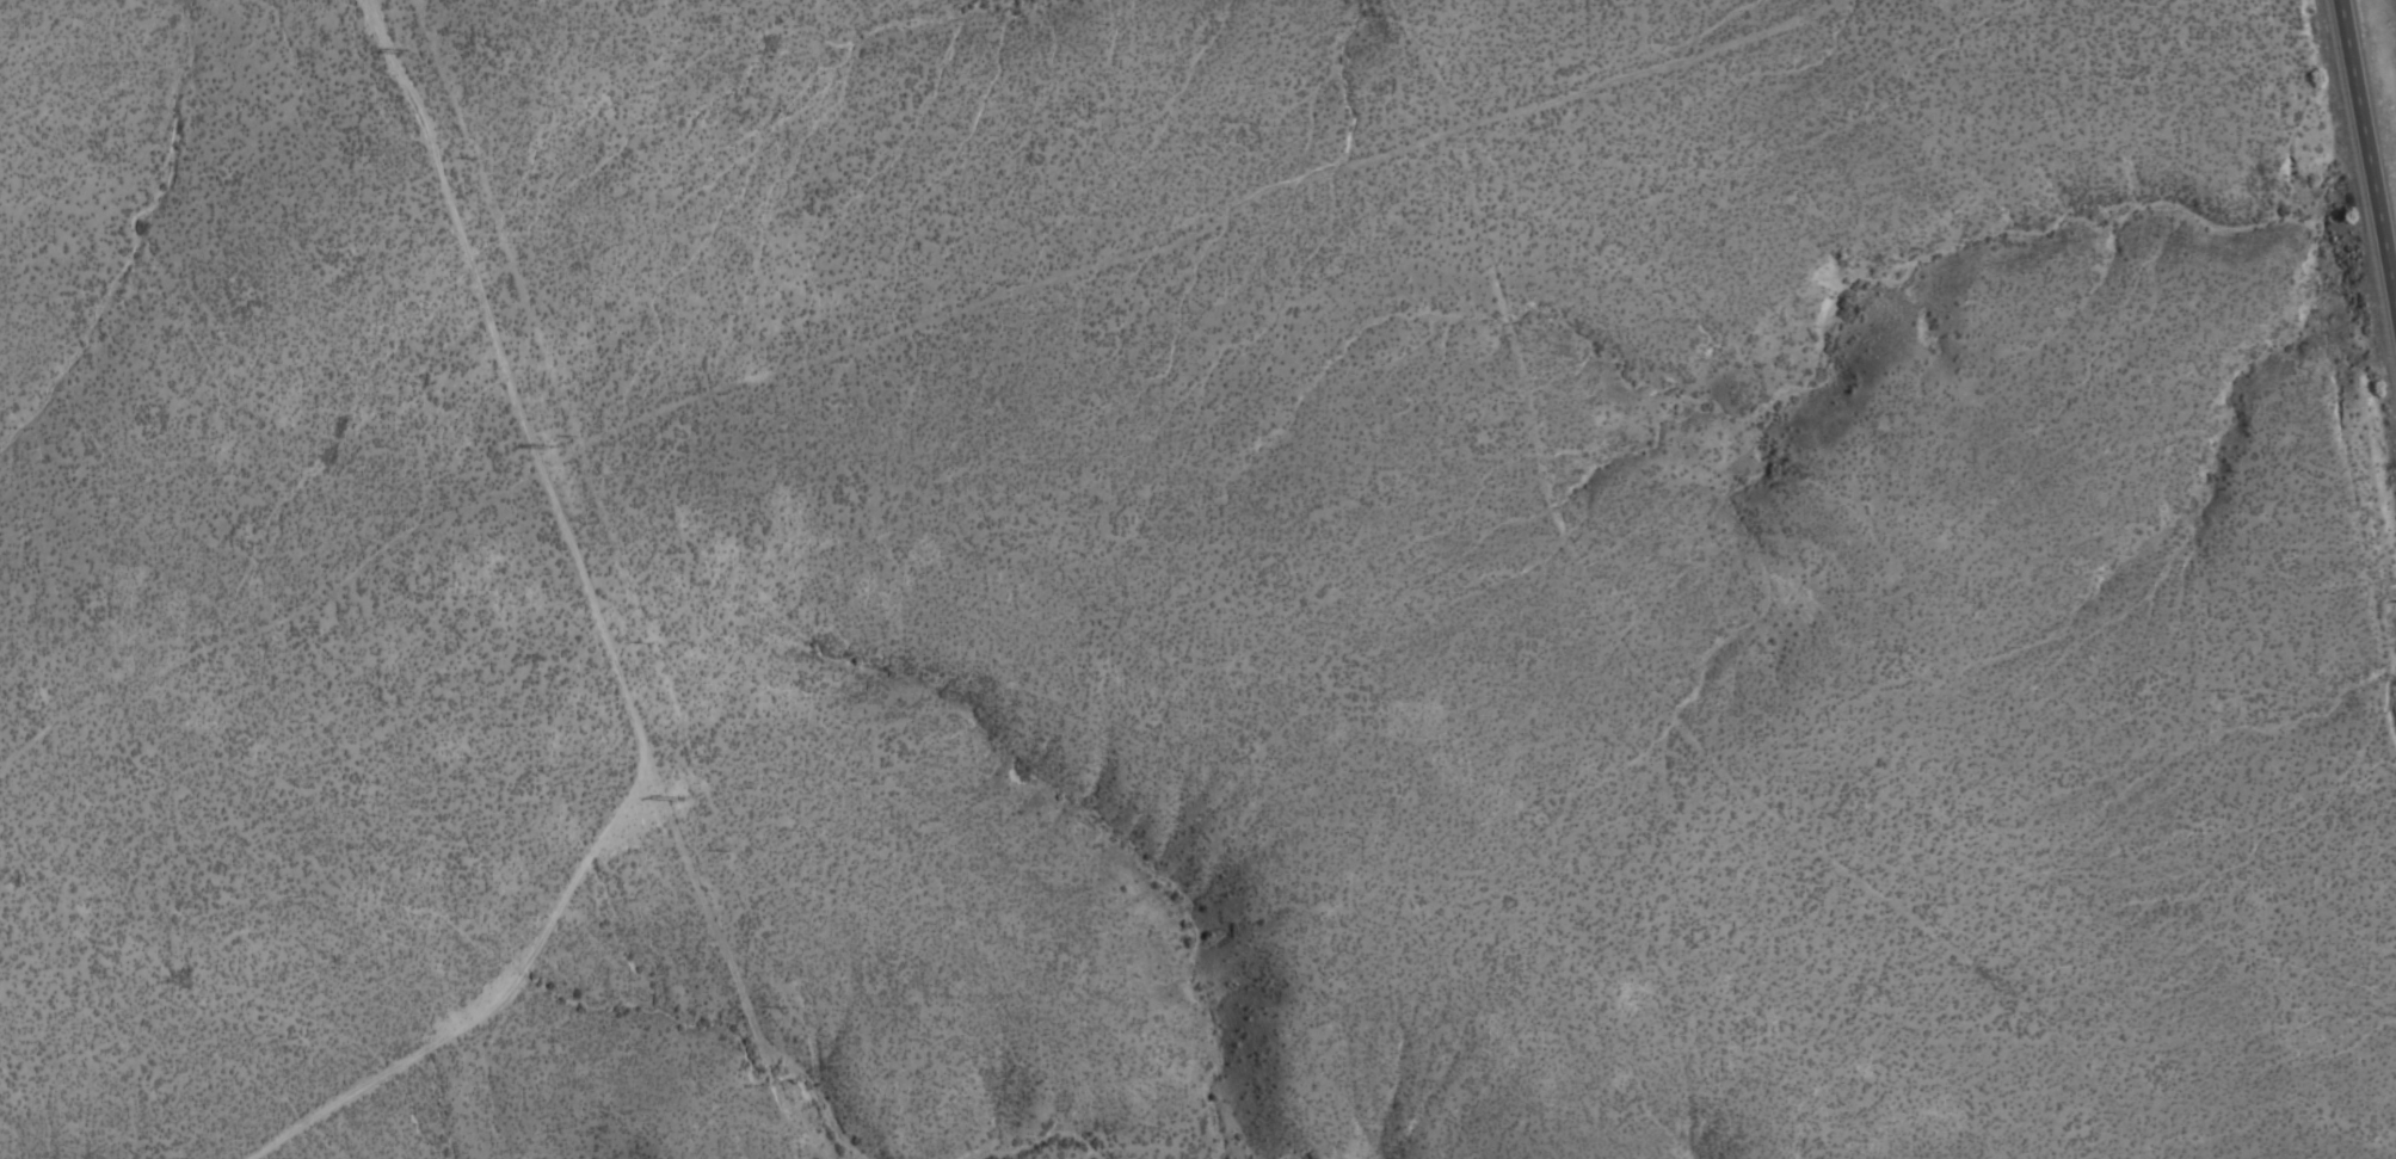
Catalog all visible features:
road: (2365, 167)

